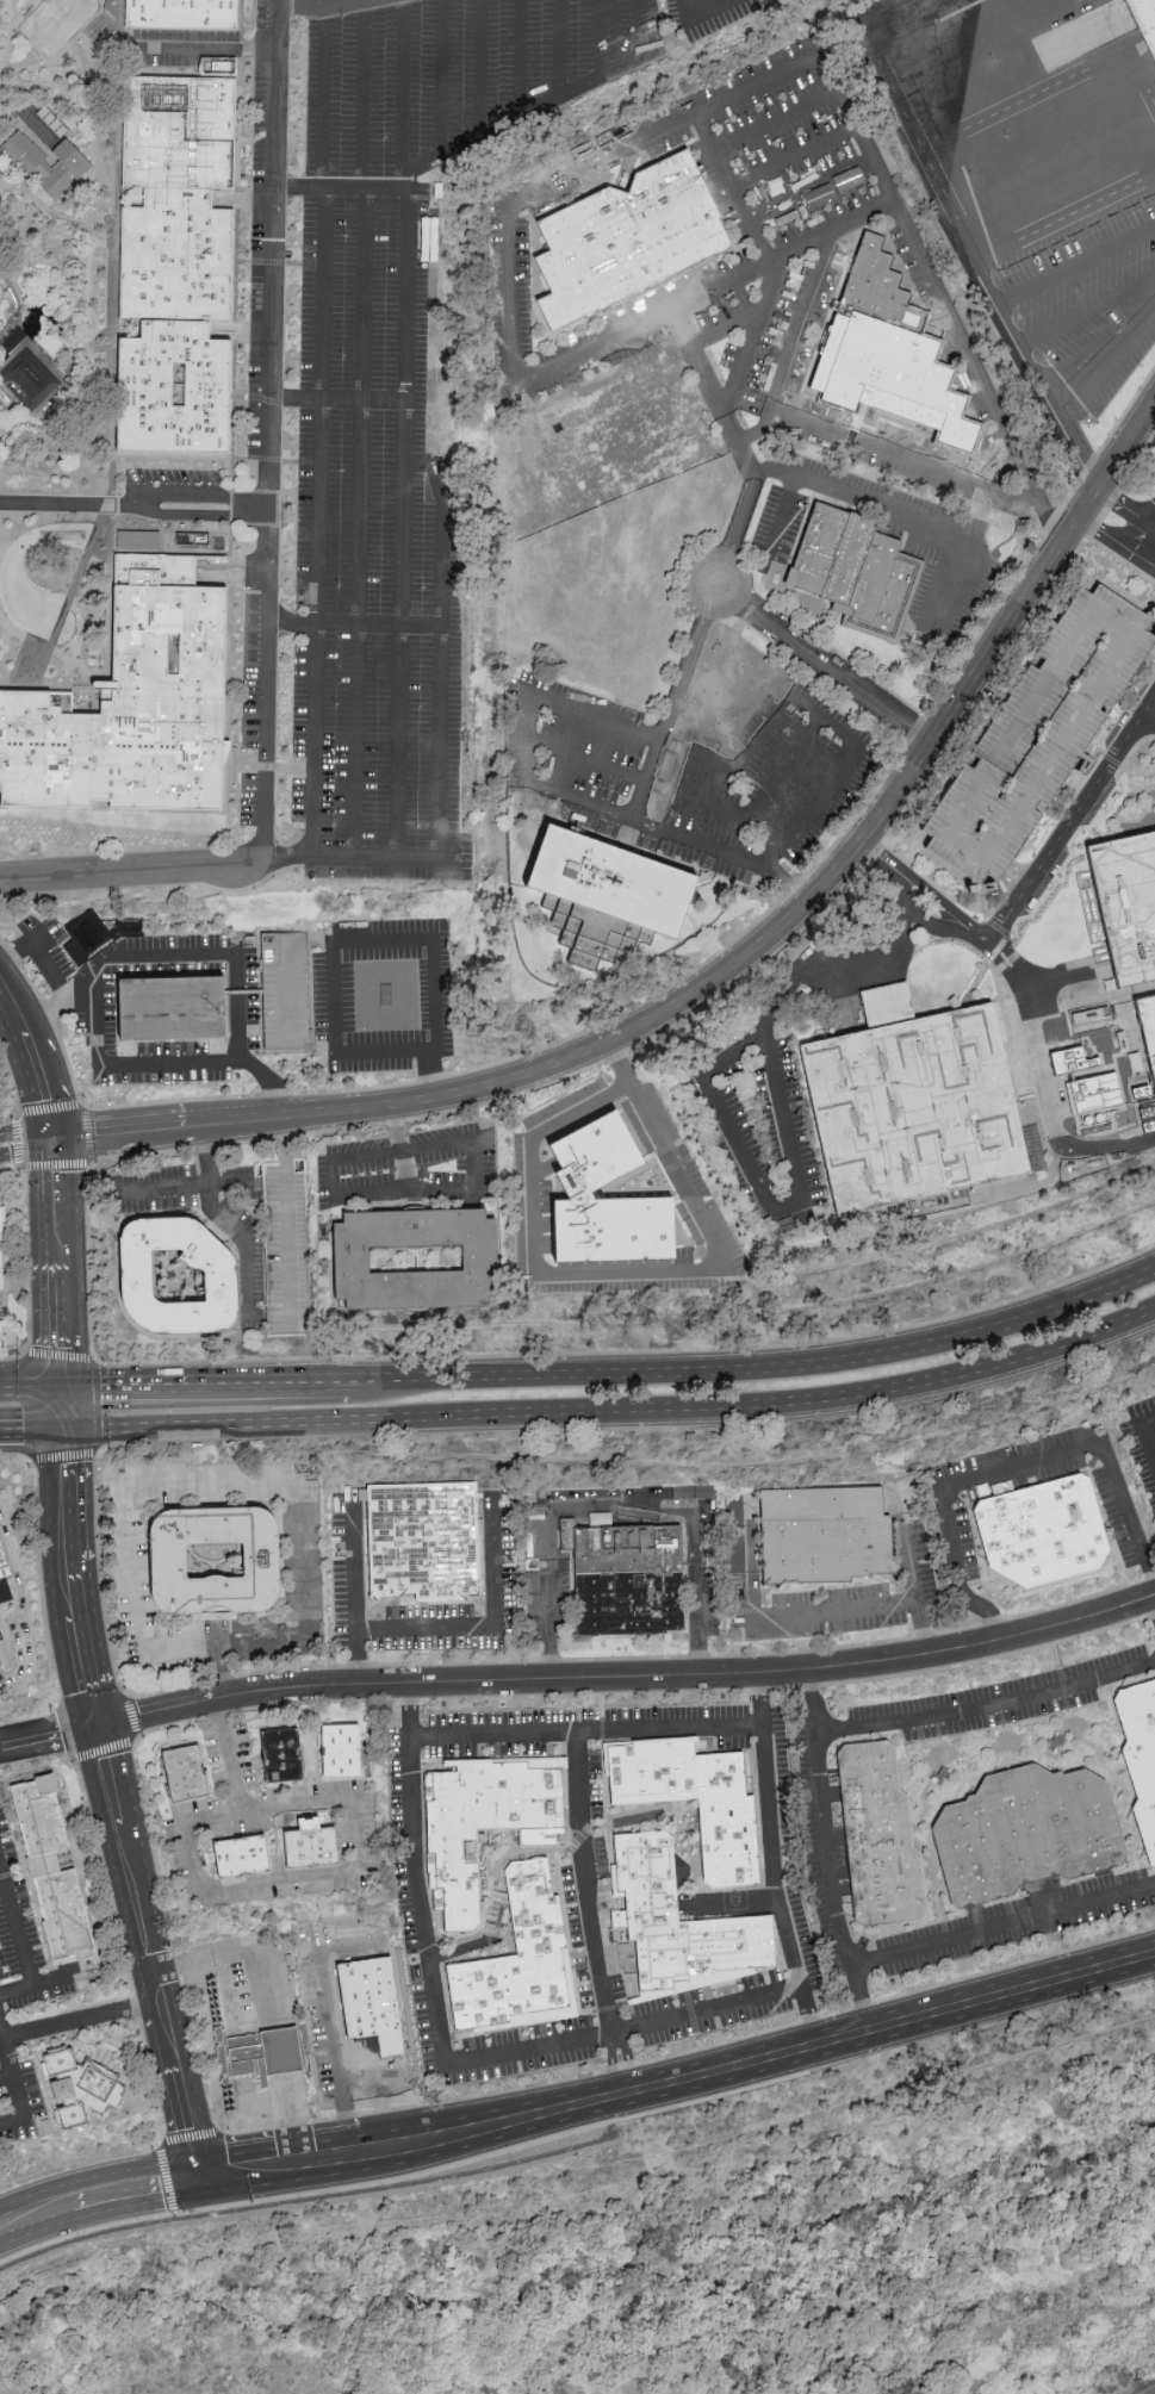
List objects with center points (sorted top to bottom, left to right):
road: (312, 4)
road: (1066, 4)
park: (69, 8)
road: (325, 8)
parking lot: (1052, 11)
road: (700, 13)
building: (180, 14)
parking lot: (706, 15)
road: (1014, 15)
road: (60, 20)
building: (1144, 20)
park: (43, 29)
road: (120, 35)
road: (6, 36)
road: (602, 38)
parking lot: (184, 45)
road: (209, 46)
road: (559, 49)
road: (66, 55)
road: (518, 60)
road: (479, 68)
road: (0, 74)
parking lot: (454, 75)
road: (440, 77)
road: (400, 87)
road: (541, 107)
road: (774, 122)
road: (104, 141)
road: (863, 148)
road: (791, 158)
building: (52, 163)
road: (340, 188)
road: (97, 189)
road: (809, 194)
road: (37, 200)
parking lot: (1067, 218)
road: (1068, 223)
parking lot: (776, 225)
parking lot: (267, 228)
building: (621, 235)
road: (975, 251)
road: (766, 262)
road: (1078, 265)
building: (175, 266)
park: (54, 269)
road: (18, 271)
road: (76, 274)
parking lot: (731, 297)
road: (15, 299)
road: (86, 309)
road: (1089, 312)
road: (725, 328)
road: (620, 332)
parking lot: (790, 338)
road: (795, 346)
building: (883, 350)
parking lot: (963, 352)
road: (1109, 361)
road: (93, 373)
building: (24, 375)
road: (710, 393)
road: (336, 399)
road: (267, 409)
road: (360, 430)
road: (318, 433)
parking lot: (886, 447)
road: (907, 456)
road: (772, 468)
parking lot: (39, 479)
parking lot: (163, 480)
road: (132, 497)
parking lot: (1008, 508)
road: (882, 509)
road: (1126, 510)
road: (132, 512)
road: (738, 520)
road: (400, 523)
parking lot: (138, 530)
road: (2, 541)
road: (1117, 542)
road: (1148, 545)
parking lot: (946, 547)
road: (1120, 560)
parking lot: (372, 561)
building: (2, 566)
road: (750, 566)
road: (698, 570)
building: (853, 571)
road: (4, 584)
road: (67, 601)
parking lot: (12, 615)
road: (348, 624)
building: (1, 635)
road: (1151, 653)
road: (833, 672)
road: (988, 691)
building: (133, 707)
road: (671, 714)
road: (725, 714)
road: (442, 716)
road: (1148, 721)
parking lot: (257, 729)
building: (1038, 738)
parking lot: (1038, 738)
road: (1135, 747)
road: (1109, 758)
parking lot: (690, 766)
road: (1137, 773)
road: (695, 802)
road: (619, 817)
road: (1069, 826)
road: (259, 841)
road: (1069, 850)
road: (877, 857)
road: (284, 858)
road: (129, 870)
road: (1017, 882)
road: (919, 884)
road: (900, 885)
road: (936, 888)
road: (783, 890)
building: (596, 893)
building: (1124, 902)
road: (961, 920)
road: (939, 925)
road: (999, 928)
building: (99, 932)
road: (366, 941)
road: (998, 947)
road: (39, 953)
road: (173, 956)
road: (285, 964)
road: (731, 971)
road: (838, 974)
road: (669, 984)
building: (284, 991)
parking lot: (284, 991)
parking lot: (333, 996)
parking lot: (88, 1003)
building: (808, 1003)
building: (887, 1003)
building: (167, 1009)
building: (1147, 1030)
road: (37, 1056)
road: (164, 1068)
road: (1048, 1080)
road: (12, 1081)
building: (1086, 1093)
building: (908, 1109)
road: (26, 1132)
traffic signals: (54, 1138)
road: (399, 1148)
road: (27, 1149)
road: (138, 1155)
road: (6, 1167)
road: (544, 1167)
road: (19, 1168)
parking lot: (409, 1168)
road: (181, 1187)
parking lot: (529, 1187)
building: (620, 1189)
road: (416, 1190)
building: (606, 1201)
road: (763, 1201)
road: (222, 1219)
road: (285, 1219)
road: (541, 1223)
building: (287, 1246)
building: (2, 1248)
road: (56, 1257)
building: (418, 1260)
road: (26, 1270)
road: (589, 1271)
building: (181, 1277)
road: (758, 1368)
traffic signals: (61, 1376)
road: (77, 1376)
road: (221, 1378)
road: (36, 1380)
road: (6, 1383)
road: (61, 1400)
road: (95, 1406)
road: (774, 1409)
road: (306, 1422)
road: (148, 1424)
road: (8, 1425)
road: (39, 1425)
traffic signals: (62, 1425)
building: (1154, 1429)
road: (1141, 1442)
road: (13, 1456)
road: (1017, 1465)
road: (209, 1485)
road: (619, 1504)
building: (1048, 1534)
building: (831, 1537)
building: (428, 1543)
building: (4, 1547)
building: (218, 1562)
building: (631, 1580)
road: (19, 1604)
road: (831, 1609)
road: (921, 1628)
road: (430, 1629)
road: (356, 1658)
road: (517, 1660)
road: (219, 1671)
road: (628, 1677)
road: (647, 1695)
road: (760, 1699)
road: (812, 1699)
road: (410, 1710)
traffic signals: (97, 1725)
road: (49, 1735)
road: (124, 1742)
road: (1, 1746)
building: (335, 1754)
building: (1140, 1759)
building: (275, 1760)
building: (179, 1776)
road: (113, 1799)
building: (480, 1828)
road: (820, 1832)
building: (1024, 1836)
building: (876, 1841)
building: (726, 1847)
building: (305, 1852)
road: (355, 1857)
building: (234, 1860)
building: (56, 1871)
road: (583, 1877)
road: (732, 1899)
building: (648, 1907)
road: (15, 1928)
parking lot: (25, 1946)
road: (246, 1946)
road: (455, 1952)
building: (513, 1961)
road: (51, 1982)
road: (15, 1991)
road: (859, 1998)
building: (366, 2013)
road: (811, 2015)
road: (79, 2019)
road: (331, 2020)
building: (259, 2053)
road: (6, 2057)
building: (87, 2079)
road: (682, 2084)
road: (625, 2097)
road: (18, 2102)
parking lot: (20, 2106)
road: (291, 2114)
traffic signals: (200, 2170)
road: (98, 2176)
road: (139, 2197)
road: (36, 2227)
road: (998, 2321)

